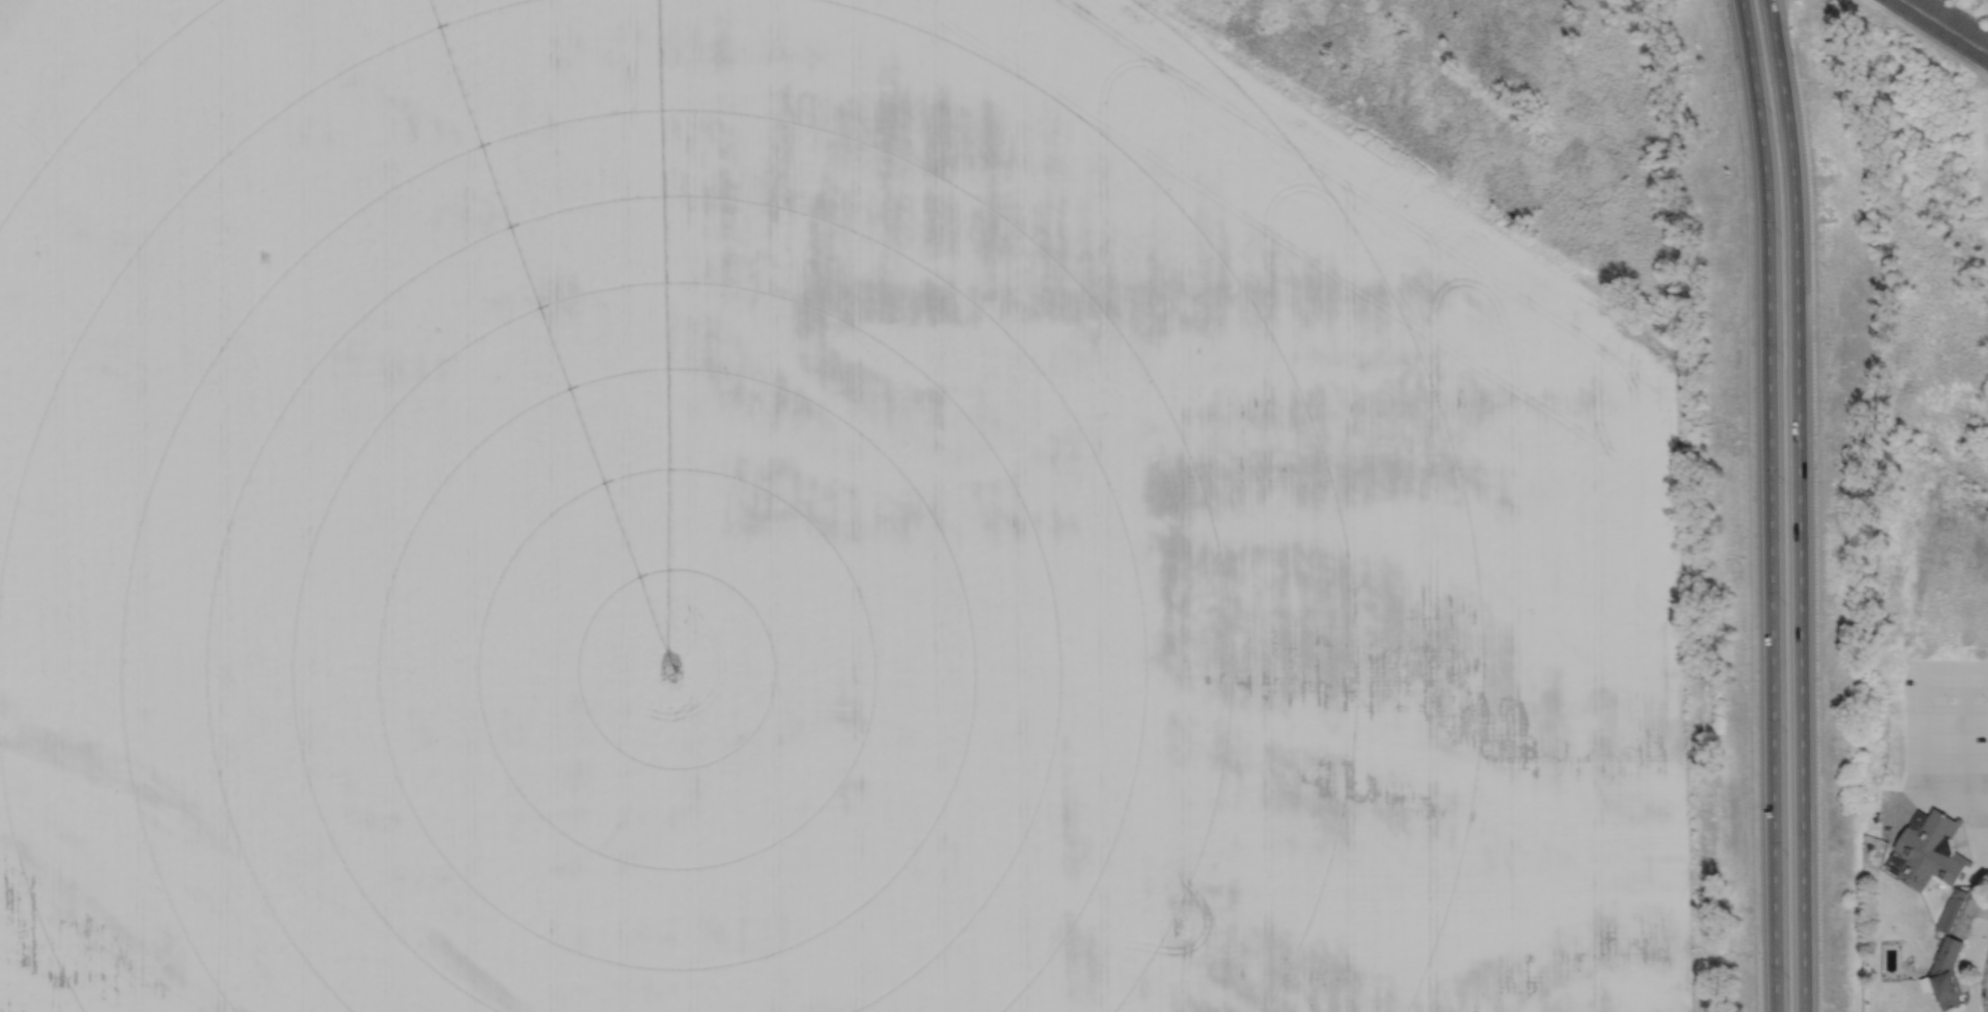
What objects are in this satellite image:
road: (1778, 9)
railway: (1954, 21)
railway: (1937, 31)
road: (1770, 505)
road: (1799, 514)
crop: (800, 529)
road: (1923, 721)
road: (1966, 726)
parking lot: (1943, 748)
road: (1984, 785)
road: (1984, 795)
road: (1899, 806)
building: (1927, 849)
road: (1970, 900)
road: (1978, 906)
building: (1951, 908)
building: (1945, 973)
road: (1986, 988)

